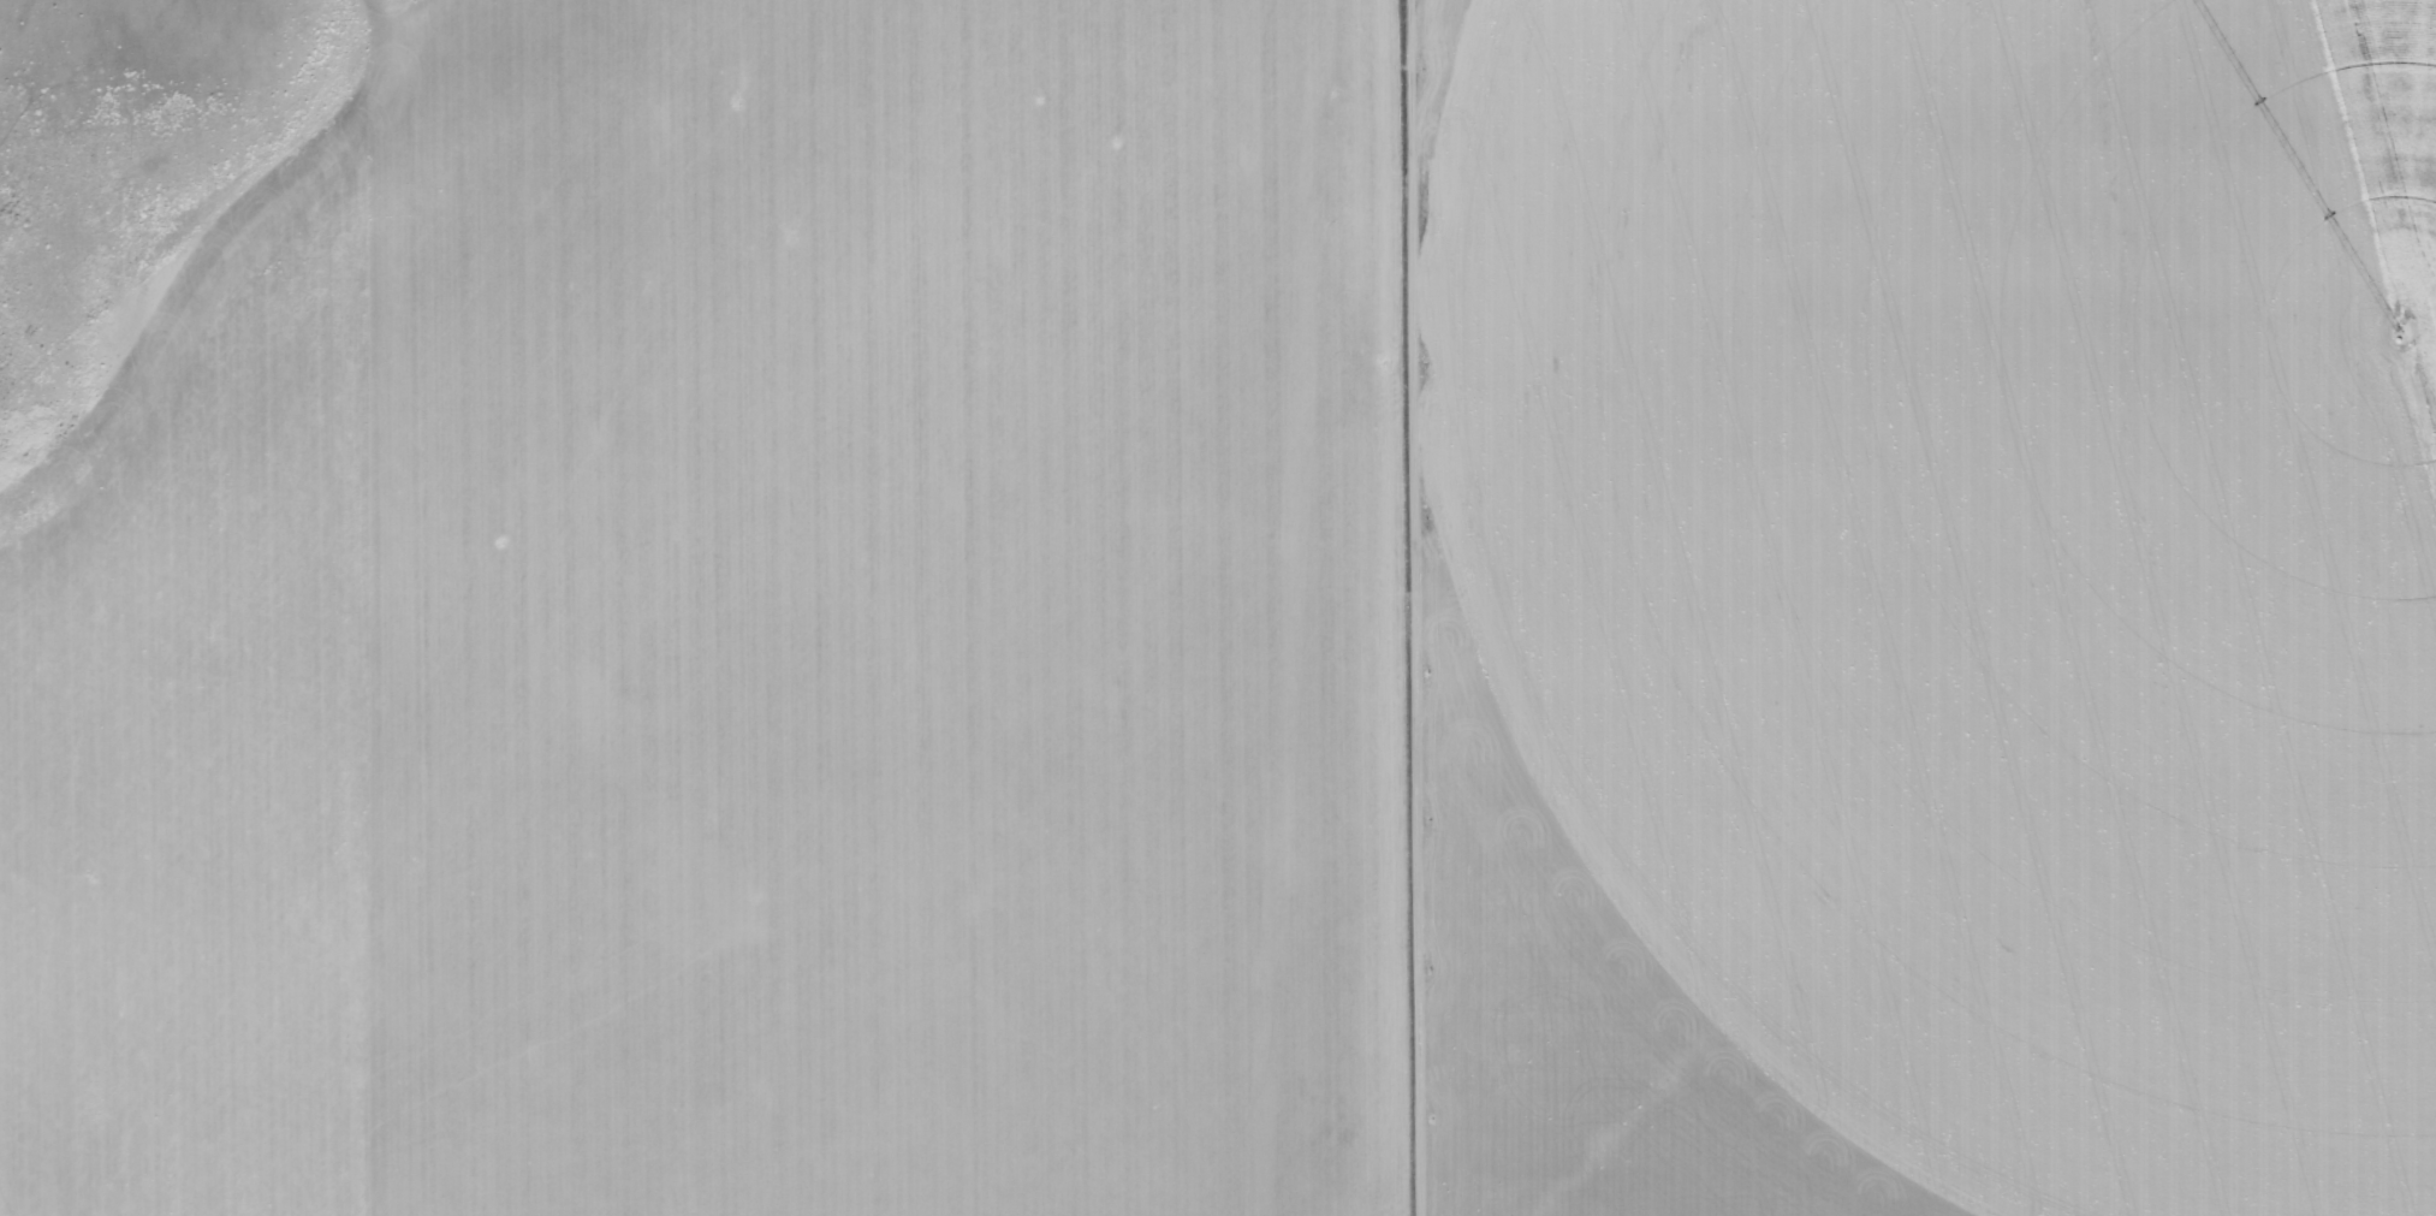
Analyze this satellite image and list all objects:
road: (1395, 607)

